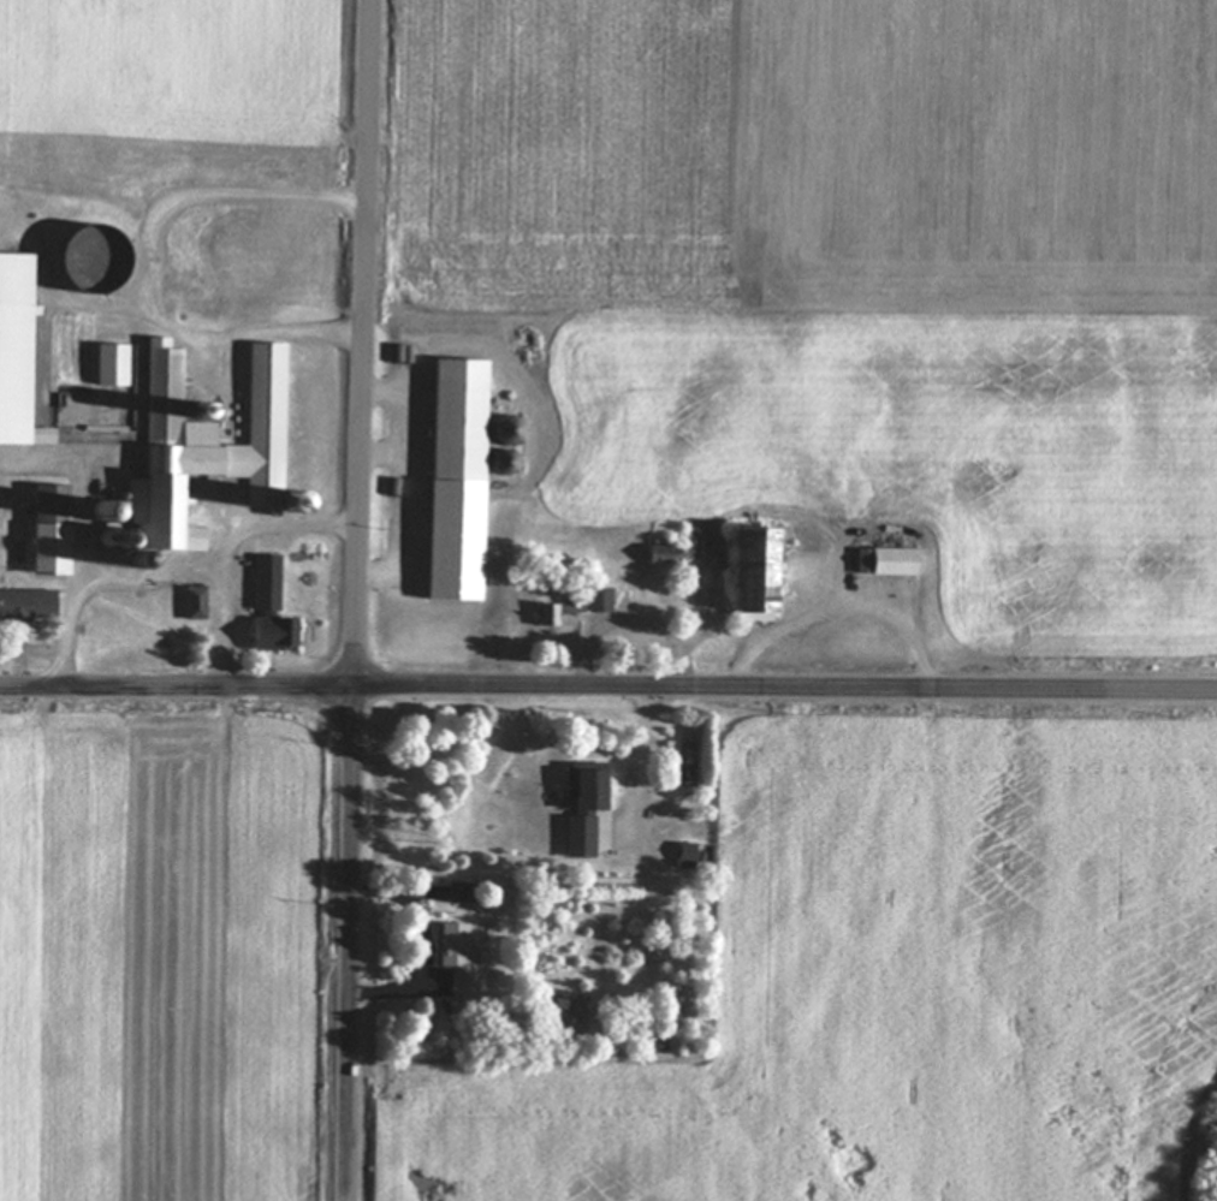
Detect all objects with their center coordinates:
road: (210, 337)
building: (16, 352)
building: (109, 365)
building: (160, 379)
building: (208, 454)
building: (450, 480)
building: (54, 525)
building: (191, 540)
building: (887, 563)
road: (182, 566)
building: (749, 573)
road: (361, 600)
building: (595, 601)
building: (192, 604)
road: (844, 605)
building: (24, 606)
building: (267, 611)
building: (552, 617)
road: (637, 618)
road: (226, 629)
road: (607, 691)
road: (643, 745)
building: (580, 791)
building: (575, 838)
building: (683, 854)
road: (431, 943)
building: (457, 962)

